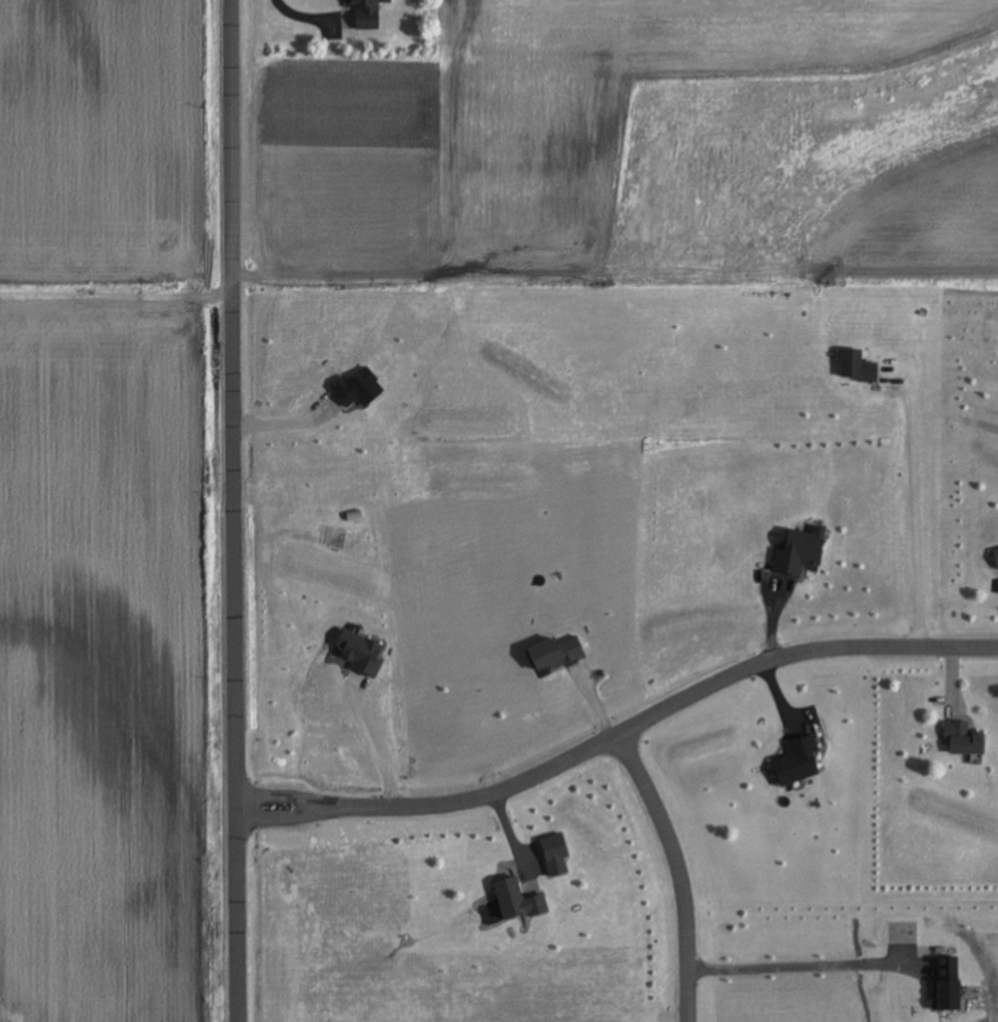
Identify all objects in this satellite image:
road: (311, 6)
building: (366, 13)
road: (283, 416)
road: (918, 492)
road: (228, 511)
crop: (110, 513)
building: (800, 552)
building: (996, 557)
building: (556, 653)
road: (616, 732)
building: (963, 739)
road: (377, 742)
road: (679, 870)
road: (791, 966)

